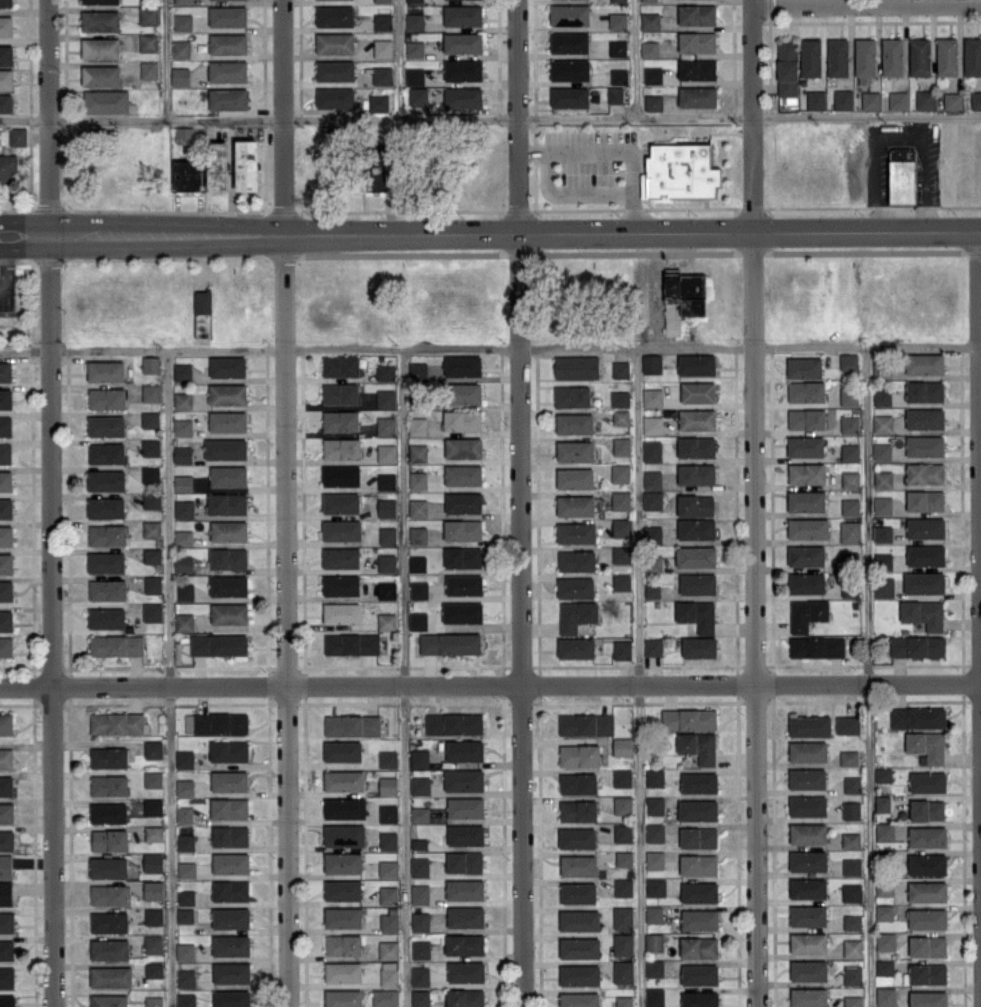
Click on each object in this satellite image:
building: (649, 0)
building: (100, 1)
building: (183, 1)
building: (414, 1)
building: (6, 3)
road: (866, 4)
building: (696, 14)
building: (148, 15)
building: (334, 15)
building: (462, 15)
building: (569, 15)
building: (228, 16)
building: (100, 20)
building: (618, 20)
building: (650, 20)
building: (383, 21)
building: (414, 21)
building: (183, 22)
building: (6, 25)
building: (697, 41)
building: (148, 42)
building: (462, 42)
building: (569, 42)
building: (228, 43)
building: (335, 43)
building: (101, 47)
building: (617, 47)
building: (181, 48)
building: (383, 48)
building: (649, 48)
building: (415, 49)
building: (6, 55)
building: (865, 56)
building: (892, 56)
building: (920, 56)
building: (947, 56)
building: (972, 56)
building: (810, 57)
building: (838, 57)
road: (166, 58)
road: (401, 58)
road: (635, 58)
building: (149, 69)
building: (463, 69)
building: (570, 69)
building: (697, 69)
building: (335, 70)
building: (228, 71)
building: (787, 72)
building: (101, 75)
building: (382, 75)
building: (619, 75)
building: (653, 75)
building: (180, 76)
building: (414, 76)
building: (6, 79)
building: (615, 94)
building: (418, 96)
building: (697, 96)
building: (335, 97)
building: (463, 97)
building: (569, 97)
building: (228, 98)
building: (816, 99)
building: (843, 99)
building: (925, 99)
building: (976, 99)
building: (871, 100)
building: (898, 100)
building: (952, 100)
building: (106, 101)
building: (6, 102)
building: (379, 102)
building: (653, 102)
road: (753, 115)
road: (490, 117)
building: (184, 134)
building: (17, 136)
road: (895, 136)
road: (617, 149)
building: (246, 164)
building: (218, 165)
building: (8, 167)
building: (680, 172)
building: (374, 174)
building: (902, 174)
building: (188, 175)
road: (568, 195)
road: (490, 233)
road: (4, 264)
building: (682, 297)
building: (203, 314)
road: (490, 346)
building: (848, 361)
building: (924, 363)
building: (150, 364)
building: (652, 364)
building: (696, 364)
building: (341, 365)
building: (462, 365)
building: (227, 366)
building: (576, 366)
building: (804, 367)
building: (620, 369)
building: (5, 371)
building: (106, 371)
building: (385, 371)
building: (418, 371)
building: (182, 372)
building: (924, 390)
building: (698, 391)
building: (806, 391)
building: (151, 392)
building: (227, 393)
building: (340, 393)
building: (464, 393)
building: (572, 396)
building: (848, 396)
building: (882, 396)
building: (107, 397)
building: (652, 397)
building: (5, 398)
building: (386, 398)
building: (620, 398)
building: (183, 400)
building: (621, 417)
building: (806, 418)
building: (924, 418)
building: (150, 419)
building: (697, 419)
building: (340, 420)
building: (462, 420)
building: (228, 421)
building: (574, 423)
building: (849, 423)
building: (883, 423)
building: (652, 424)
building: (5, 425)
building: (106, 425)
building: (386, 425)
building: (417, 426)
building: (182, 427)
building: (621, 445)
building: (925, 445)
building: (696, 446)
building: (805, 446)
building: (150, 447)
building: (463, 447)
building: (226, 448)
building: (341, 448)
building: (575, 450)
building: (652, 450)
building: (881, 451)
building: (106, 452)
building: (418, 452)
building: (850, 452)
building: (5, 453)
building: (386, 453)
building: (183, 454)
building: (924, 472)
building: (620, 473)
building: (807, 473)
building: (150, 474)
building: (463, 474)
building: (696, 474)
building: (341, 475)
building: (228, 476)
building: (575, 478)
building: (883, 478)
building: (652, 479)
building: (850, 479)
building: (6, 480)
building: (105, 480)
building: (418, 480)
building: (386, 481)
building: (183, 482)
building: (652, 499)
building: (151, 500)
building: (620, 500)
building: (806, 500)
building: (925, 500)
building: (341, 502)
building: (463, 502)
road: (49, 503)
building: (227, 503)
road: (283, 503)
road: (519, 503)
building: (575, 505)
building: (695, 505)
building: (882, 505)
building: (850, 506)
building: (6, 507)
building: (106, 507)
building: (386, 507)
building: (418, 507)
building: (183, 508)
building: (621, 527)
building: (925, 527)
building: (808, 528)
building: (151, 529)
building: (462, 529)
building: (696, 529)
building: (228, 530)
building: (341, 530)
building: (850, 531)
building: (576, 532)
building: (882, 533)
building: (107, 534)
building: (418, 534)
building: (652, 534)
building: (6, 535)
building: (387, 535)
building: (183, 537)
building: (621, 554)
building: (152, 555)
building: (696, 555)
building: (805, 555)
building: (925, 555)
building: (341, 557)
building: (463, 557)
building: (227, 558)
building: (576, 560)
building: (883, 560)
building: (106, 562)
building: (386, 562)
building: (417, 562)
building: (652, 562)
building: (6, 563)
building: (183, 563)
building: (621, 581)
building: (924, 582)
building: (698, 583)
building: (806, 583)
building: (152, 584)
building: (341, 584)
building: (464, 584)
building: (228, 585)
building: (575, 587)
building: (883, 587)
building: (107, 589)
building: (419, 589)
building: (6, 590)
building: (386, 590)
building: (185, 591)
building: (652, 591)
building: (152, 611)
building: (341, 612)
building: (462, 612)
building: (229, 613)
building: (807, 613)
building: (923, 613)
building: (697, 614)
building: (576, 615)
building: (106, 618)
road: (979, 618)
road: (755, 619)
building: (418, 620)
building: (6, 621)
building: (184, 621)
building: (387, 621)
building: (351, 643)
building: (450, 643)
building: (219, 644)
building: (116, 645)
building: (5, 646)
building: (653, 646)
building: (816, 646)
building: (917, 646)
building: (575, 647)
building: (699, 647)
building: (622, 649)
road: (865, 675)
road: (404, 676)
road: (639, 676)
road: (167, 677)
road: (490, 685)
building: (918, 717)
building: (688, 719)
building: (117, 722)
building: (6, 723)
building: (216, 723)
building: (454, 723)
building: (586, 724)
building: (847, 724)
building: (352, 725)
building: (810, 725)
building: (622, 746)
building: (698, 746)
building: (926, 746)
building: (153, 749)
building: (229, 750)
building: (465, 750)
building: (342, 751)
building: (808, 751)
building: (579, 755)
building: (6, 757)
building: (108, 757)
building: (849, 757)
building: (387, 758)
building: (419, 758)
building: (184, 759)
building: (883, 774)
building: (622, 777)
building: (654, 777)
building: (153, 778)
building: (807, 778)
building: (464, 779)
building: (229, 780)
building: (344, 780)
building: (927, 781)
building: (578, 782)
building: (698, 782)
building: (852, 784)
building: (6, 785)
building: (109, 785)
building: (388, 785)
building: (420, 785)
building: (184, 787)
building: (882, 803)
building: (622, 804)
building: (655, 805)
building: (807, 805)
building: (153, 806)
building: (465, 807)
building: (229, 808)
building: (344, 808)
building: (927, 809)
building: (578, 810)
building: (697, 810)
building: (851, 810)
building: (7, 812)
building: (108, 812)
building: (388, 813)
building: (184, 814)
building: (419, 814)
building: (885, 831)
building: (623, 832)
building: (655, 832)
building: (154, 833)
building: (808, 833)
building: (465, 834)
building: (230, 835)
building: (344, 835)
building: (927, 836)
building: (698, 837)
building: (577, 838)
building: (110, 839)
building: (851, 839)
building: (7, 840)
building: (388, 840)
building: (185, 842)
building: (419, 843)
building: (623, 858)
building: (655, 859)
building: (808, 860)
building: (464, 861)
building: (153, 862)
building: (343, 862)
building: (230, 863)
building: (927, 863)
building: (698, 864)
building: (578, 865)
building: (5, 866)
building: (420, 866)
building: (851, 866)
building: (108, 867)
building: (388, 868)
building: (186, 869)
building: (655, 886)
building: (623, 887)
building: (807, 888)
building: (884, 888)
building: (153, 889)
building: (465, 889)
building: (230, 890)
building: (342, 890)
building: (927, 891)
building: (578, 892)
building: (699, 892)
building: (852, 892)
building: (5, 893)
building: (109, 894)
building: (420, 894)
building: (388, 895)
building: (186, 897)
building: (884, 912)
building: (653, 913)
building: (185, 915)
building: (808, 915)
building: (153, 916)
building: (465, 916)
building: (623, 916)
building: (231, 917)
building: (343, 917)
building: (927, 918)
building: (699, 919)
building: (389, 920)
building: (579, 920)
building: (109, 921)
building: (420, 921)
building: (852, 921)
building: (7, 922)
building: (886, 941)
building: (654, 942)
building: (808, 942)
building: (153, 943)
building: (343, 944)
building: (464, 944)
building: (623, 944)
building: (231, 945)
building: (927, 946)
building: (579, 947)
building: (698, 947)
building: (852, 947)
building: (109, 949)
building: (388, 949)
building: (420, 949)
building: (6, 950)
building: (185, 951)
building: (884, 967)
building: (654, 968)
building: (154, 969)
building: (808, 970)
building: (343, 971)
building: (466, 971)
building: (623, 971)
building: (231, 972)
building: (389, 973)
building: (927, 973)
building: (699, 974)
building: (852, 974)
building: (579, 975)
building: (111, 976)
building: (420, 976)
building: (7, 977)
building: (186, 978)
building: (885, 996)
building: (385, 997)
building: (465, 997)
building: (654, 997)
building: (808, 997)
building: (231, 998)
building: (343, 998)
building: (420, 998)
building: (928, 998)
building: (186, 999)
building: (579, 999)
building: (699, 999)
building: (7, 1000)
building: (108, 1000)
building: (154, 1001)
building: (624, 1001)
building: (853, 1001)

